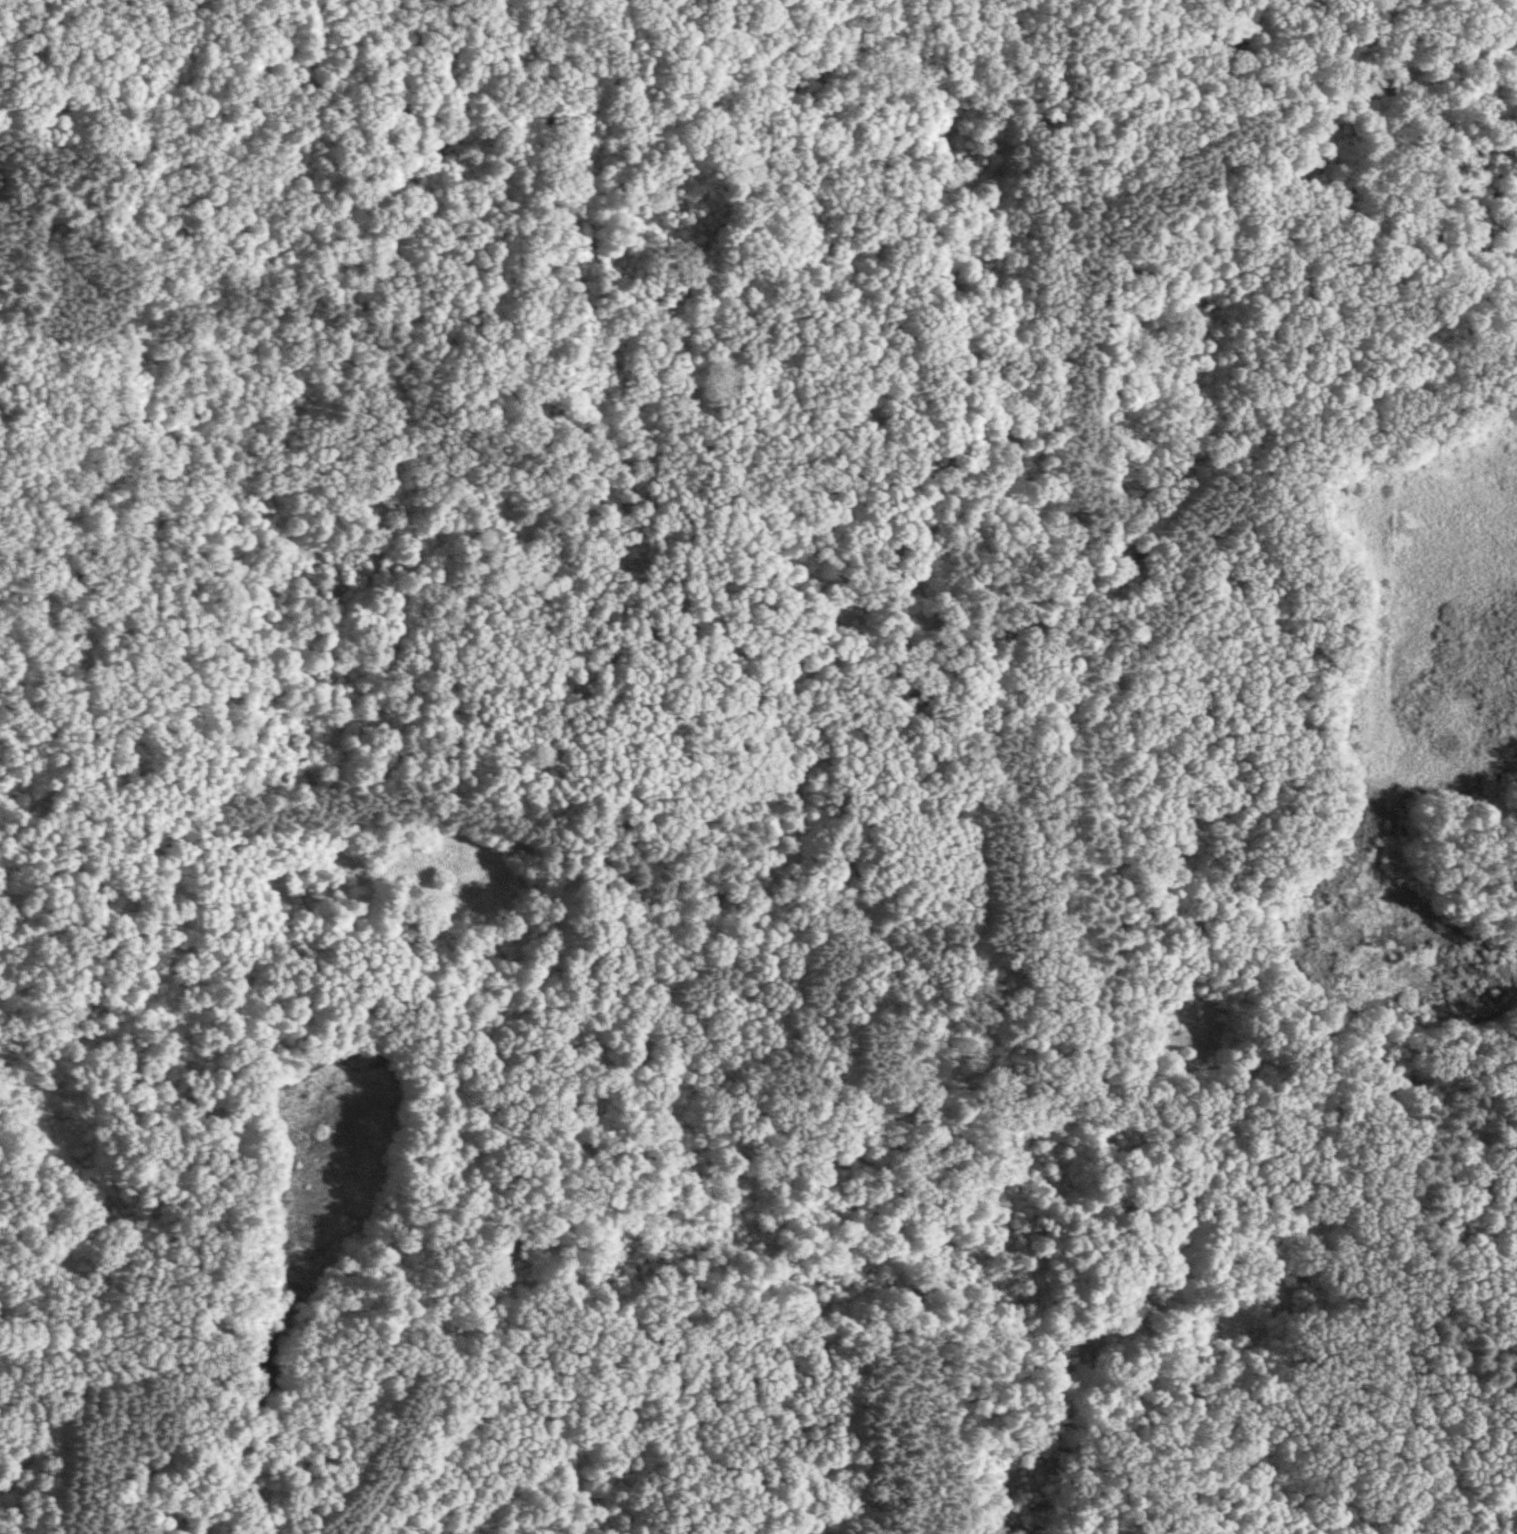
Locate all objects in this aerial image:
road: (133, 37)
road: (1132, 42)
road: (113, 305)
road: (1397, 368)
road: (1017, 549)
road: (1241, 748)
road: (750, 1100)
road: (442, 1197)
road: (585, 1406)
road: (40, 1417)
road: (87, 1451)
road: (1495, 1506)

